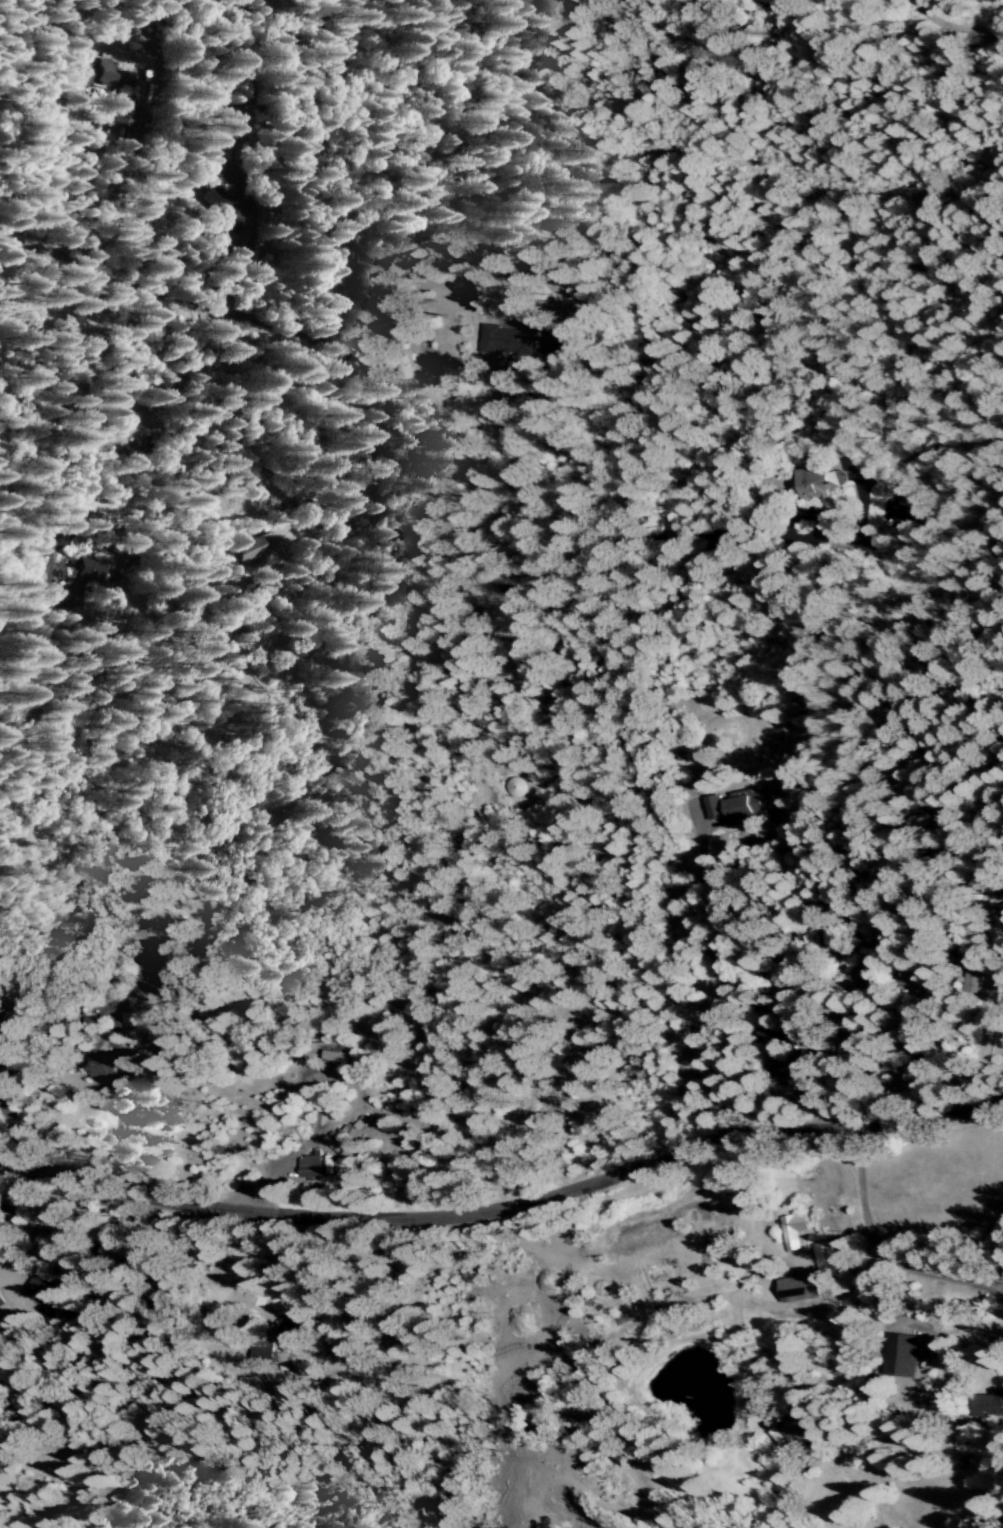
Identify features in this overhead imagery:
road: (953, 25)
building: (103, 75)
building: (123, 113)
building: (226, 210)
building: (342, 261)
building: (509, 340)
building: (552, 343)
road: (327, 399)
building: (141, 446)
building: (819, 484)
building: (249, 550)
building: (86, 572)
building: (69, 596)
building: (740, 807)
building: (871, 972)
building: (912, 978)
road: (718, 989)
building: (773, 1019)
building: (103, 1066)
building: (785, 1069)
building: (310, 1165)
road: (504, 1207)
building: (793, 1231)
road: (2, 1250)
road: (879, 1250)
building: (823, 1256)
road: (742, 1277)
road: (239, 1283)
building: (401, 1287)
building: (799, 1287)
building: (40, 1291)
building: (1, 1302)
building: (294, 1333)
building: (262, 1355)
building: (902, 1355)
building: (989, 1405)
building: (799, 1431)

